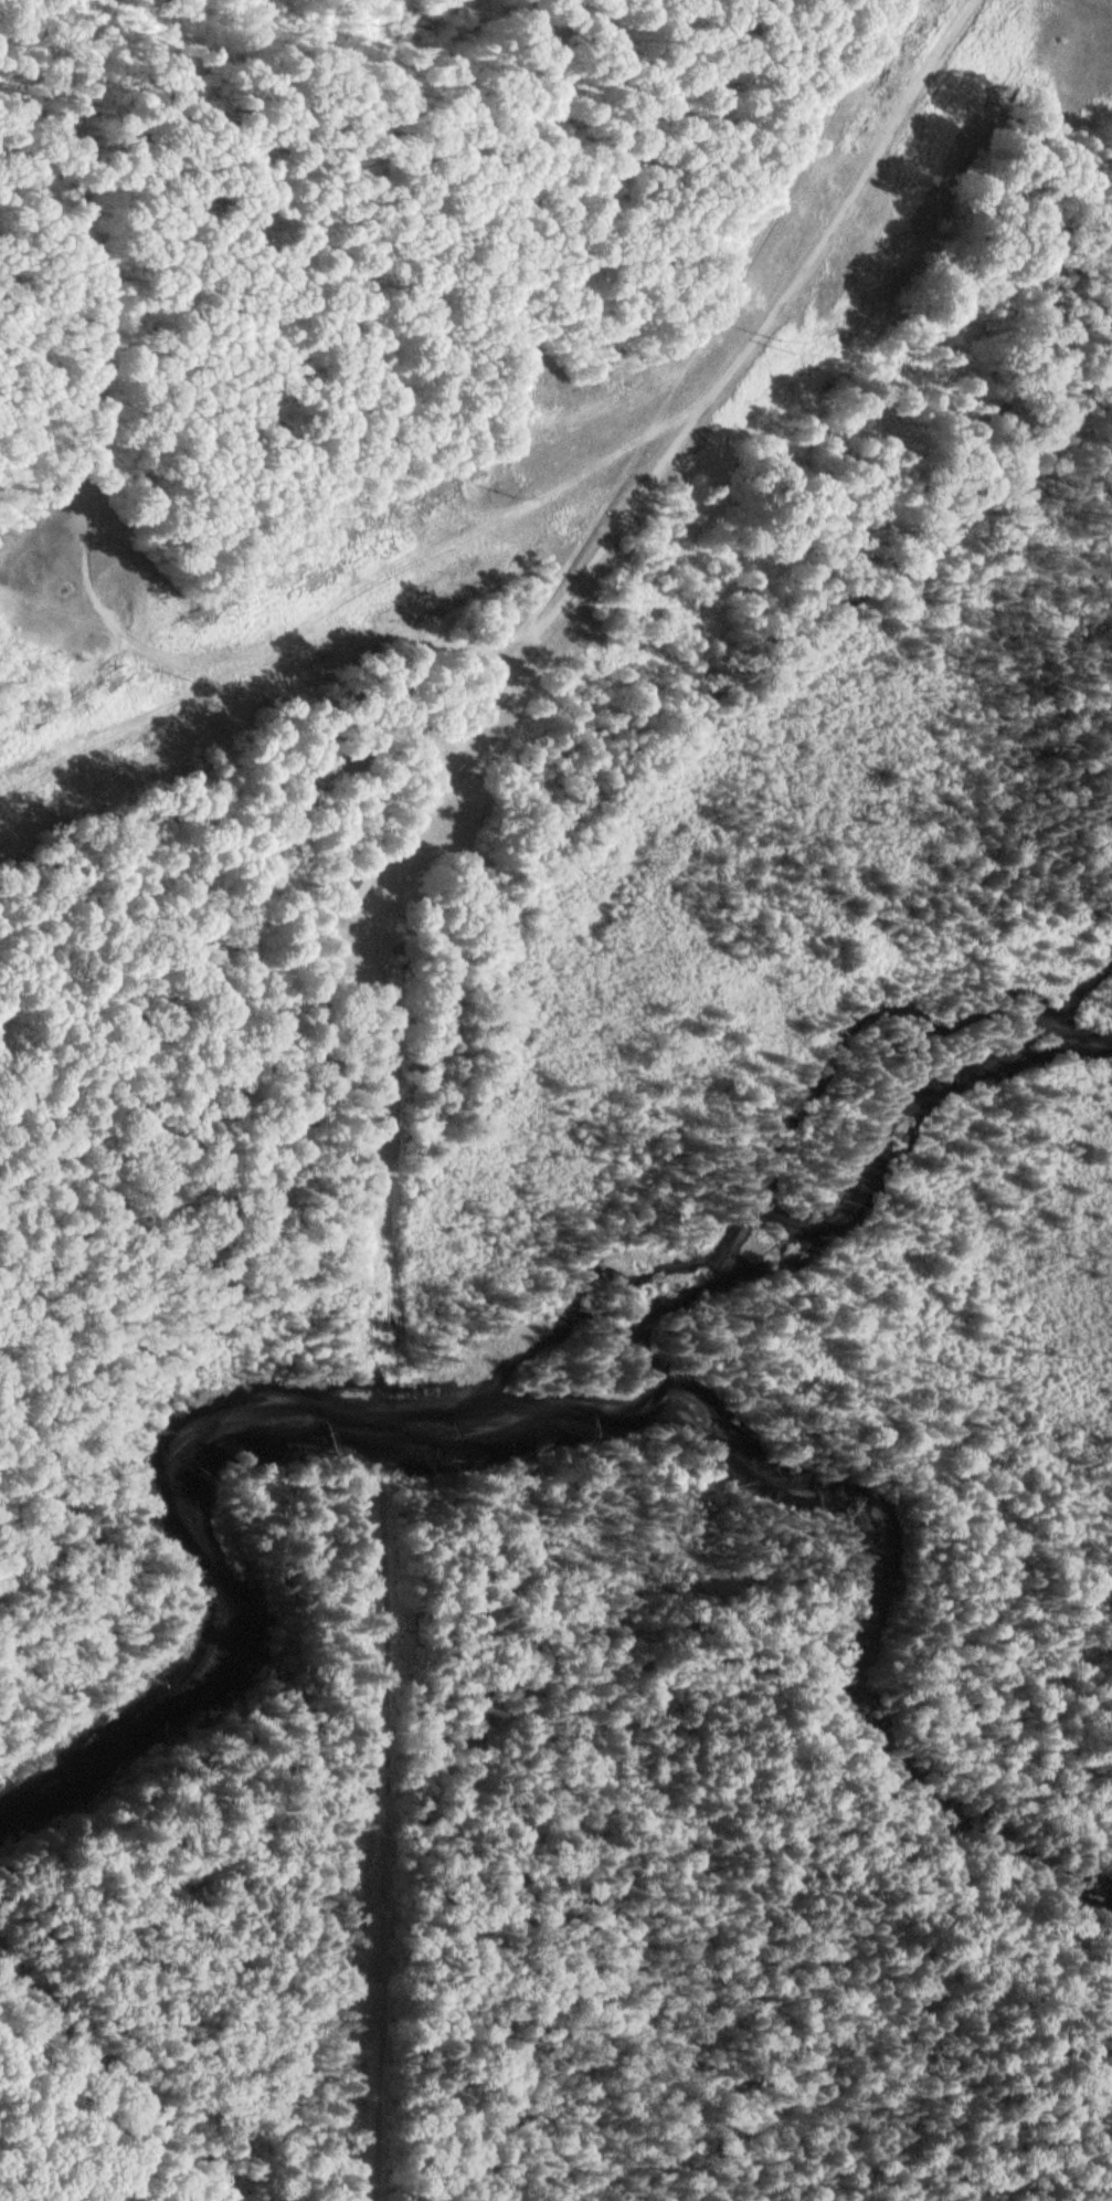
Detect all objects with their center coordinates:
road: (518, 633)
building: (363, 881)
river: (466, 1419)

